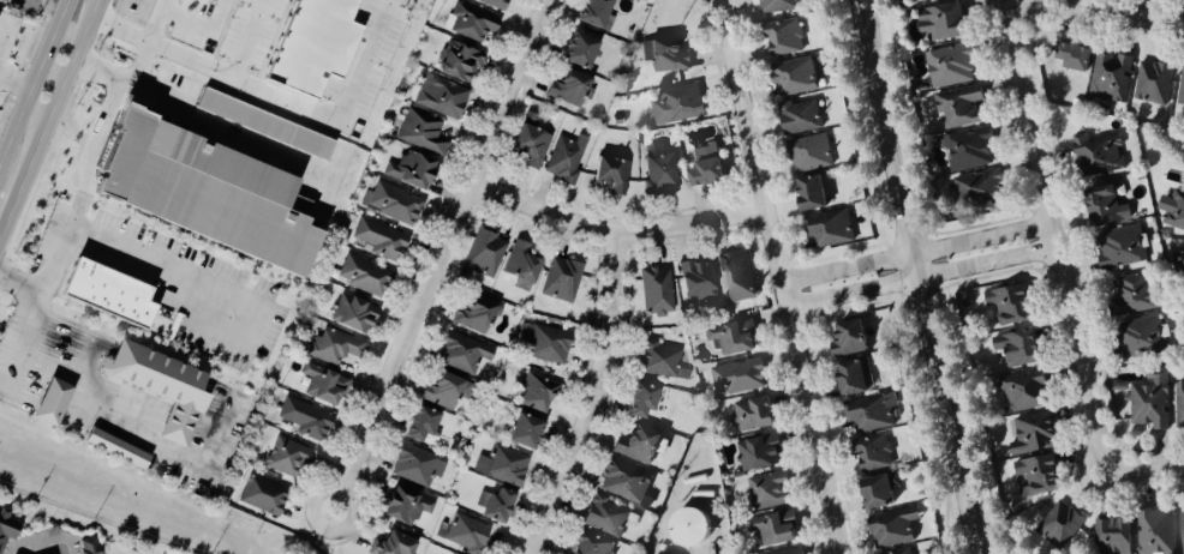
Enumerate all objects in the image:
building: (211, 0)
building: (498, 4)
building: (781, 5)
road: (867, 6)
road: (868, 6)
road: (1001, 6)
building: (602, 13)
road: (1124, 13)
building: (0, 16)
road: (77, 17)
building: (946, 22)
building: (476, 23)
building: (785, 37)
road: (250, 41)
road: (153, 44)
building: (316, 44)
building: (586, 50)
building: (668, 54)
building: (1078, 56)
building: (461, 62)
building: (952, 65)
building: (796, 76)
building: (1110, 76)
road: (16, 80)
road: (34, 80)
building: (1154, 82)
building: (574, 89)
building: (1182, 94)
building: (443, 97)
road: (275, 100)
building: (678, 104)
building: (961, 106)
road: (1027, 109)
building: (802, 116)
road: (50, 119)
road: (220, 125)
building: (264, 125)
building: (424, 132)
building: (534, 141)
building: (969, 149)
building: (812, 152)
building: (1100, 153)
building: (568, 158)
building: (710, 165)
building: (414, 170)
building: (662, 170)
building: (616, 174)
road: (84, 187)
building: (980, 187)
building: (215, 192)
building: (814, 192)
building: (394, 204)
building: (1108, 206)
building: (1176, 210)
building: (831, 228)
road: (616, 233)
building: (382, 240)
building: (1124, 246)
road: (916, 252)
building: (485, 253)
road: (443, 254)
building: (1182, 259)
road: (161, 264)
building: (525, 266)
building: (740, 273)
building: (366, 276)
road: (781, 277)
road: (921, 277)
building: (563, 279)
building: (700, 281)
road: (917, 283)
building: (658, 291)
building: (1135, 293)
building: (109, 294)
building: (1013, 303)
building: (357, 314)
building: (478, 317)
building: (1147, 336)
building: (735, 337)
building: (853, 338)
building: (545, 343)
road: (1076, 343)
building: (336, 347)
building: (1022, 348)
building: (465, 353)
building: (663, 361)
road: (54, 367)
building: (738, 377)
building: (855, 378)
building: (325, 385)
building: (166, 386)
building: (446, 391)
building: (540, 391)
building: (1025, 391)
road: (593, 398)
building: (646, 401)
building: (1150, 401)
building: (53, 402)
building: (1179, 405)
building: (872, 413)
building: (755, 414)
building: (307, 420)
building: (426, 423)
building: (530, 432)
building: (1034, 433)
building: (640, 445)
building: (118, 450)
building: (760, 452)
building: (875, 452)
building: (288, 457)
road: (1083, 464)
building: (504, 465)
building: (419, 466)
road: (1146, 468)
building: (1040, 475)
building: (626, 482)
road: (1114, 486)
building: (770, 489)
building: (881, 490)
building: (265, 496)
building: (498, 505)
building: (408, 506)
building: (606, 517)
building: (1183, 525)
building: (895, 526)
building: (1060, 526)
building: (8, 528)
building: (776, 529)
building: (1158, 531)
building: (468, 534)
building: (1117, 536)
road: (311, 537)
road: (341, 543)
building: (396, 544)
building: (92, 546)
building: (593, 546)
road: (331, 549)
building: (791, 552)
building: (902, 552)

